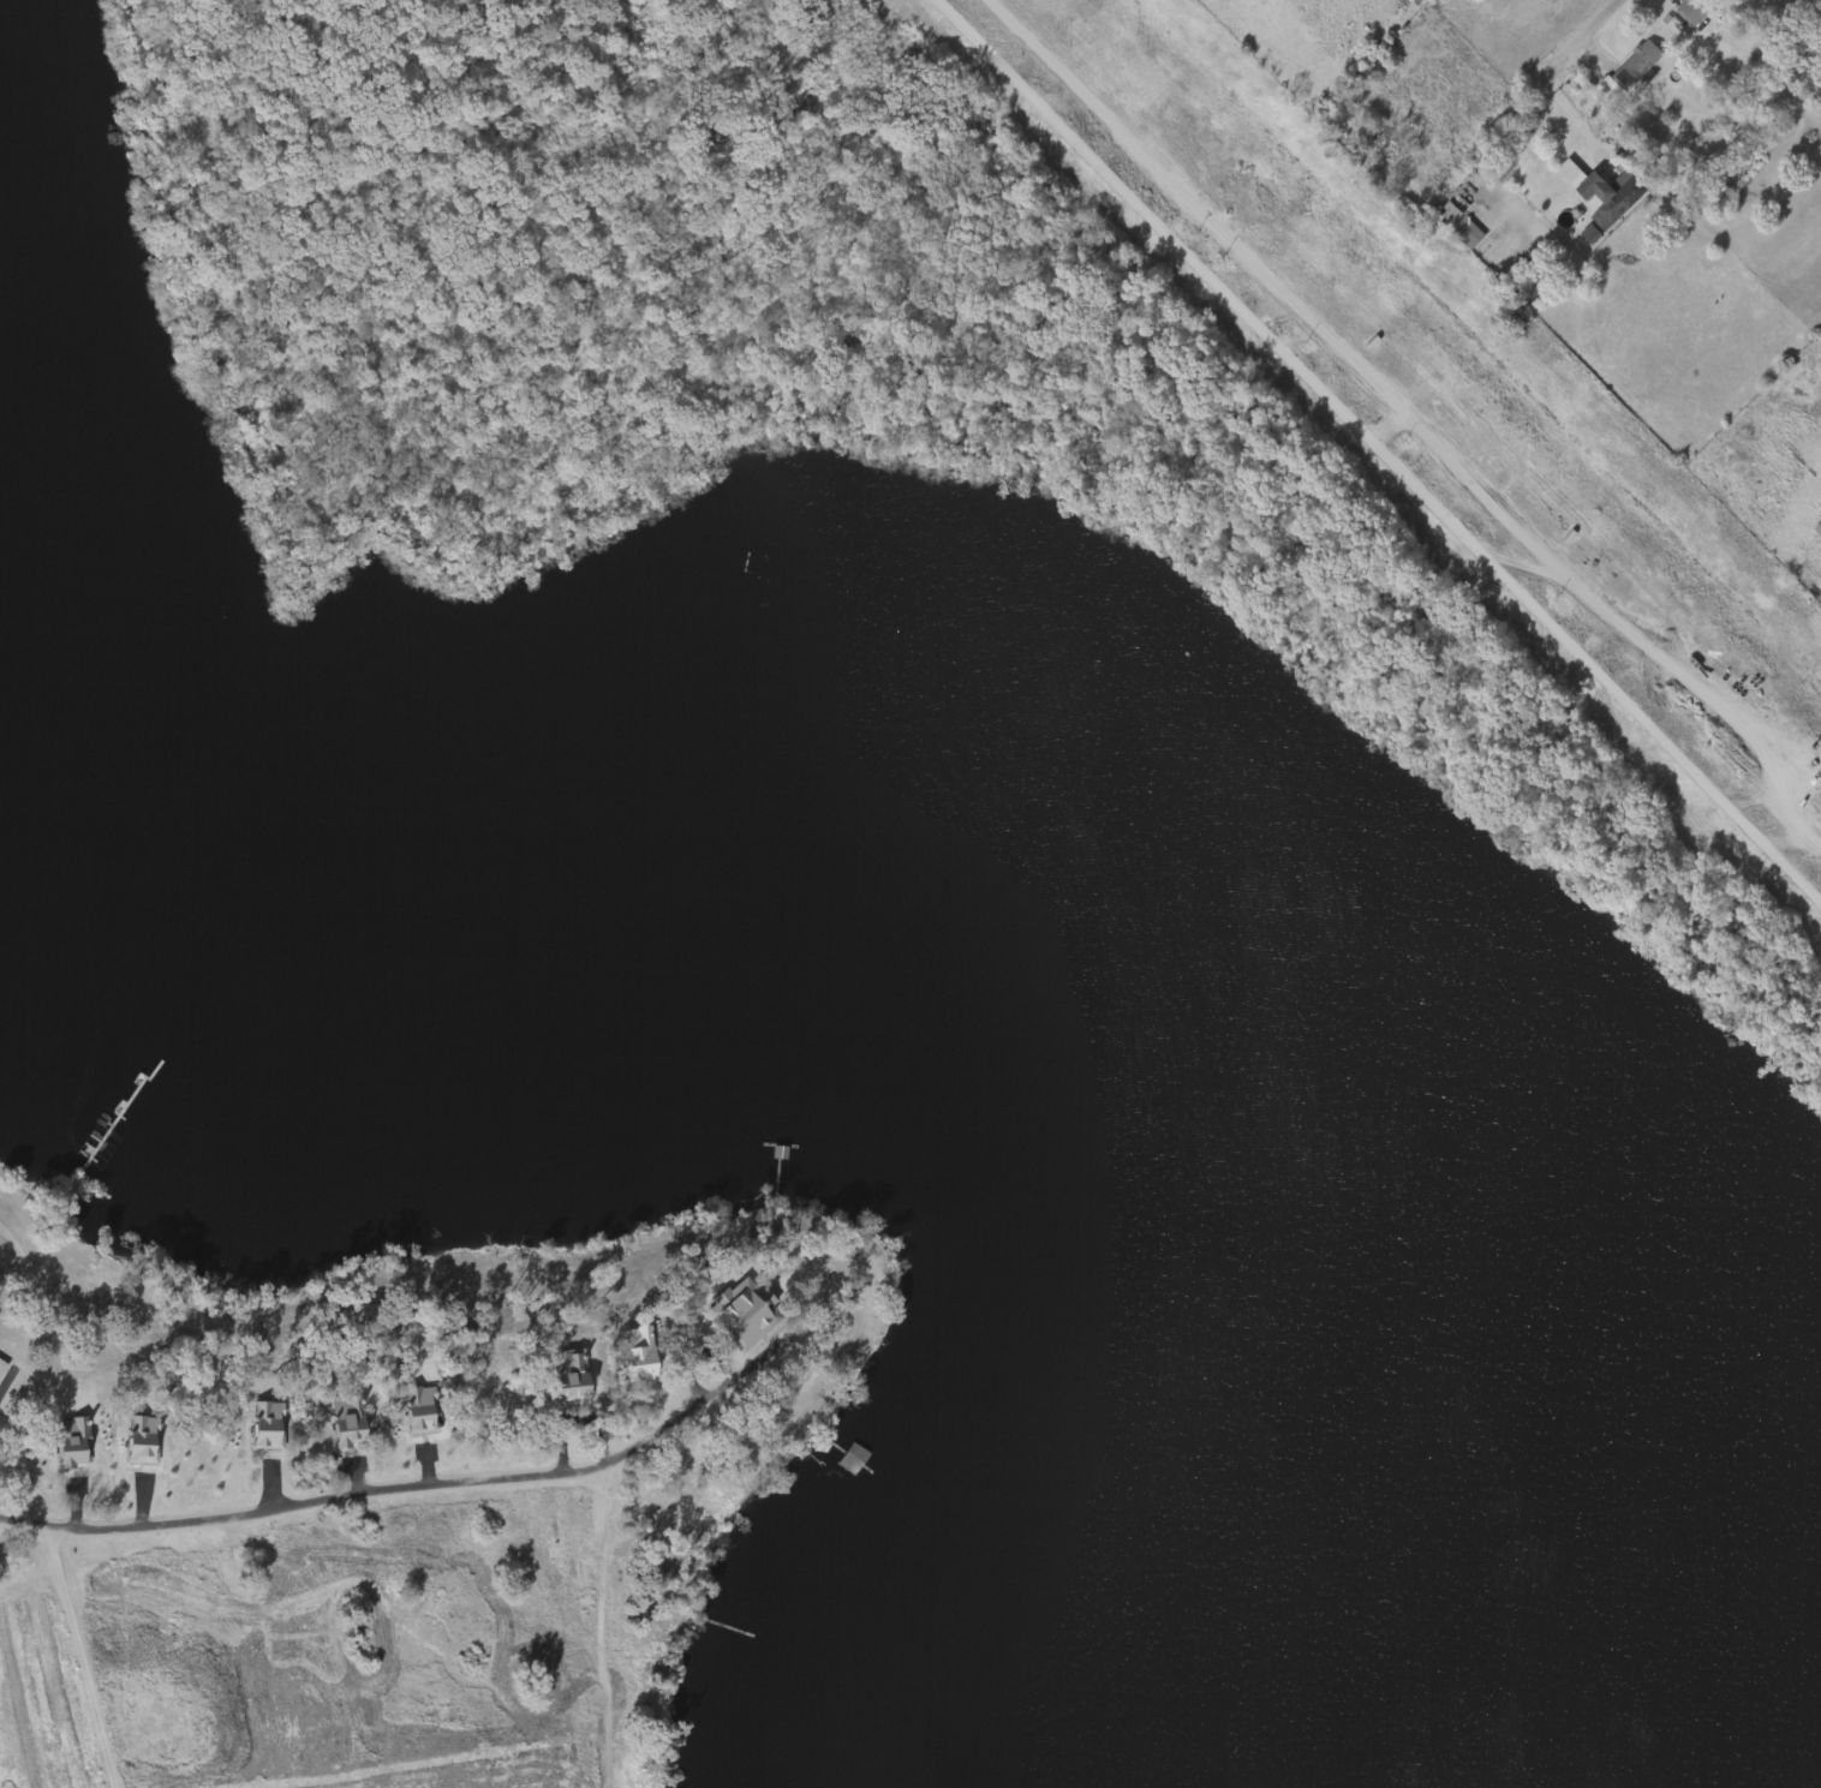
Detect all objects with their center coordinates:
building: (1694, 10)
road: (1607, 22)
building: (1792, 29)
building: (1637, 66)
road: (1542, 96)
building: (1620, 199)
building: (1581, 237)
road: (1380, 448)
building: (1819, 544)
building: (108, 1136)
road: (806, 1245)
building: (4, 1368)
road: (452, 1397)
building: (856, 1460)
building: (41, 1463)
road: (32, 1485)
road: (287, 1505)

